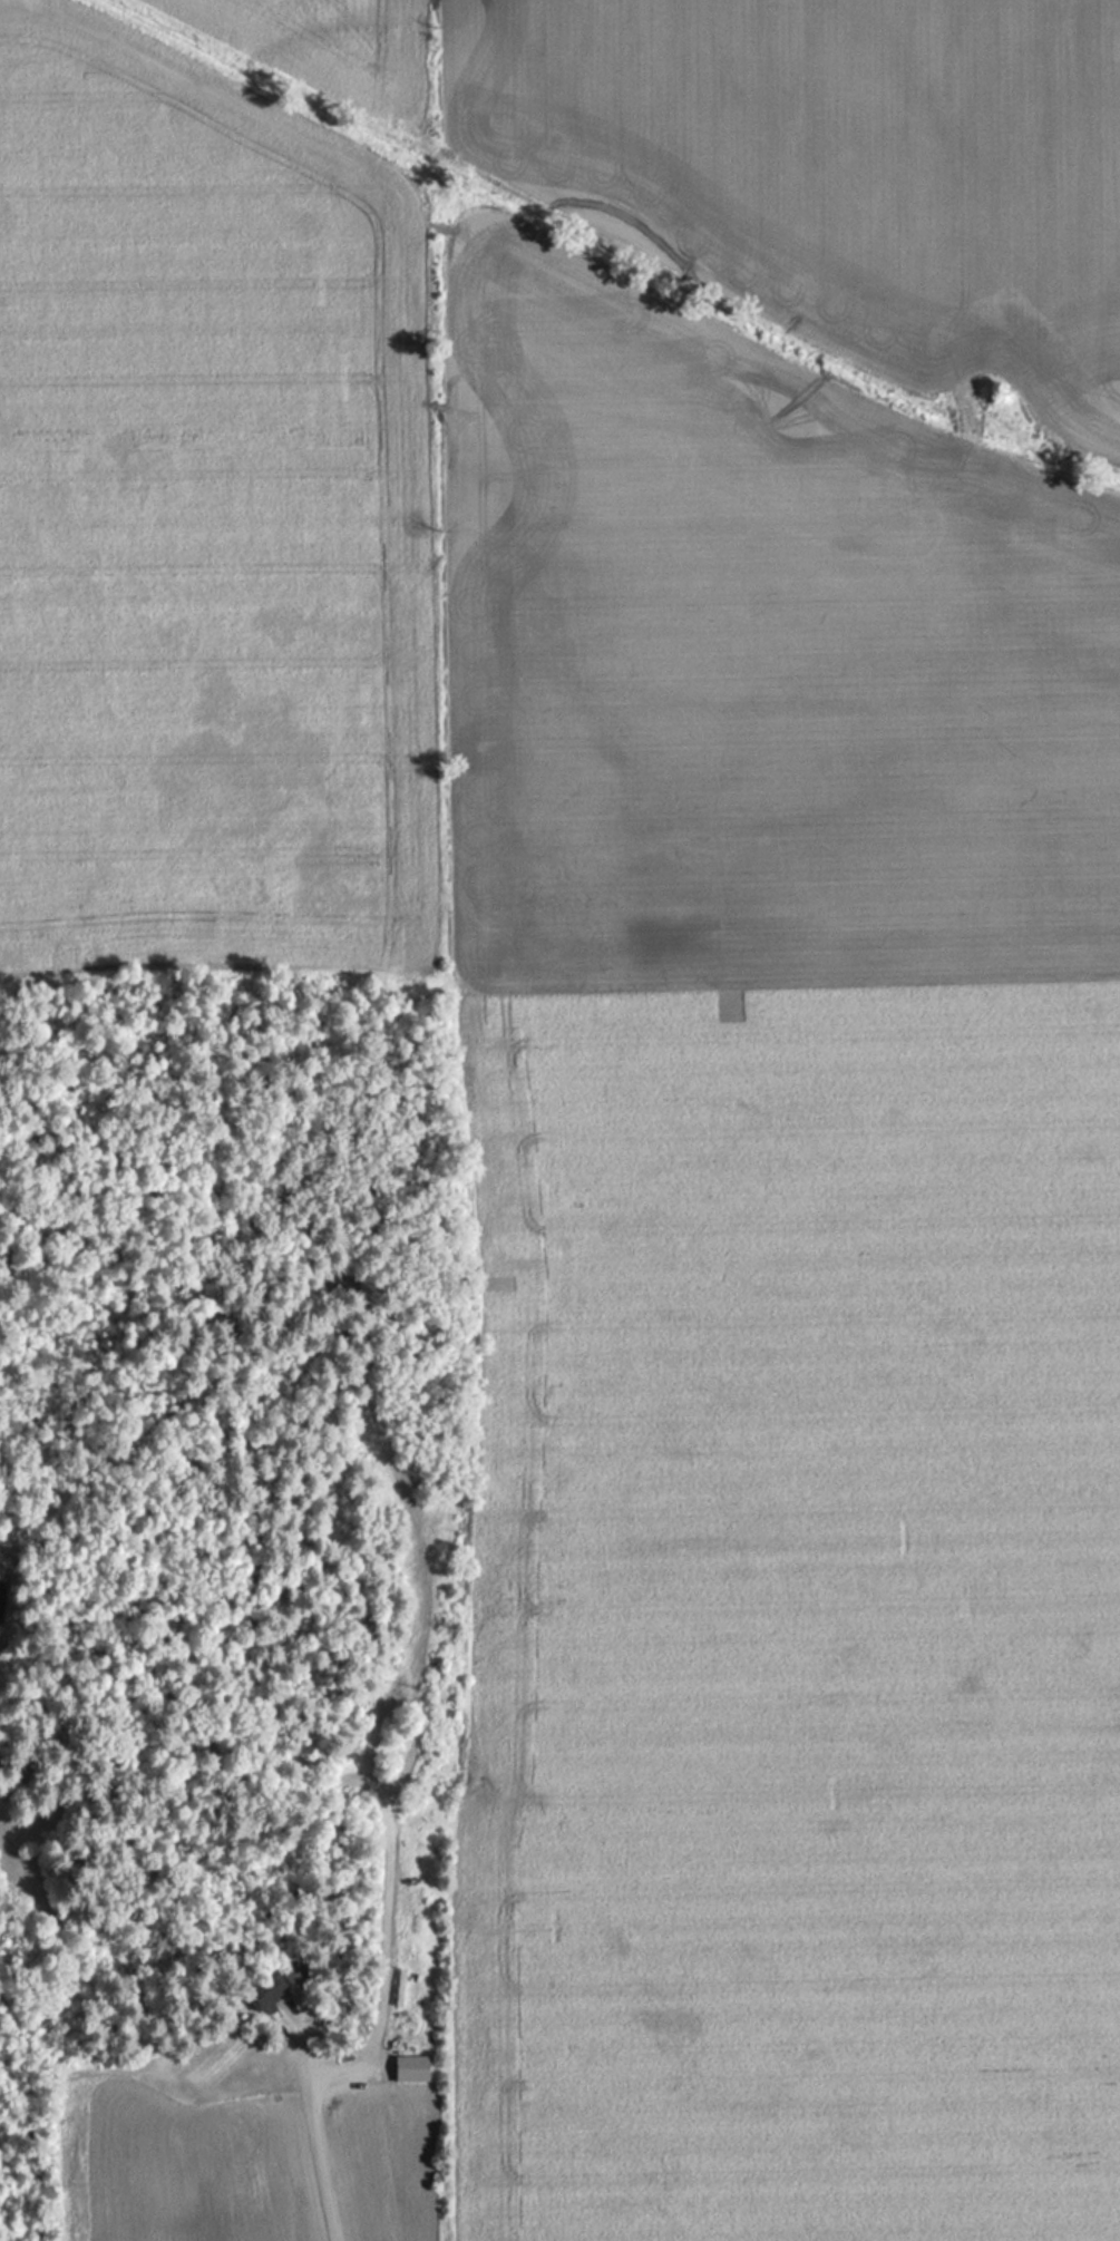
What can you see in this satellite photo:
building: (281, 1979)
building: (412, 2068)

